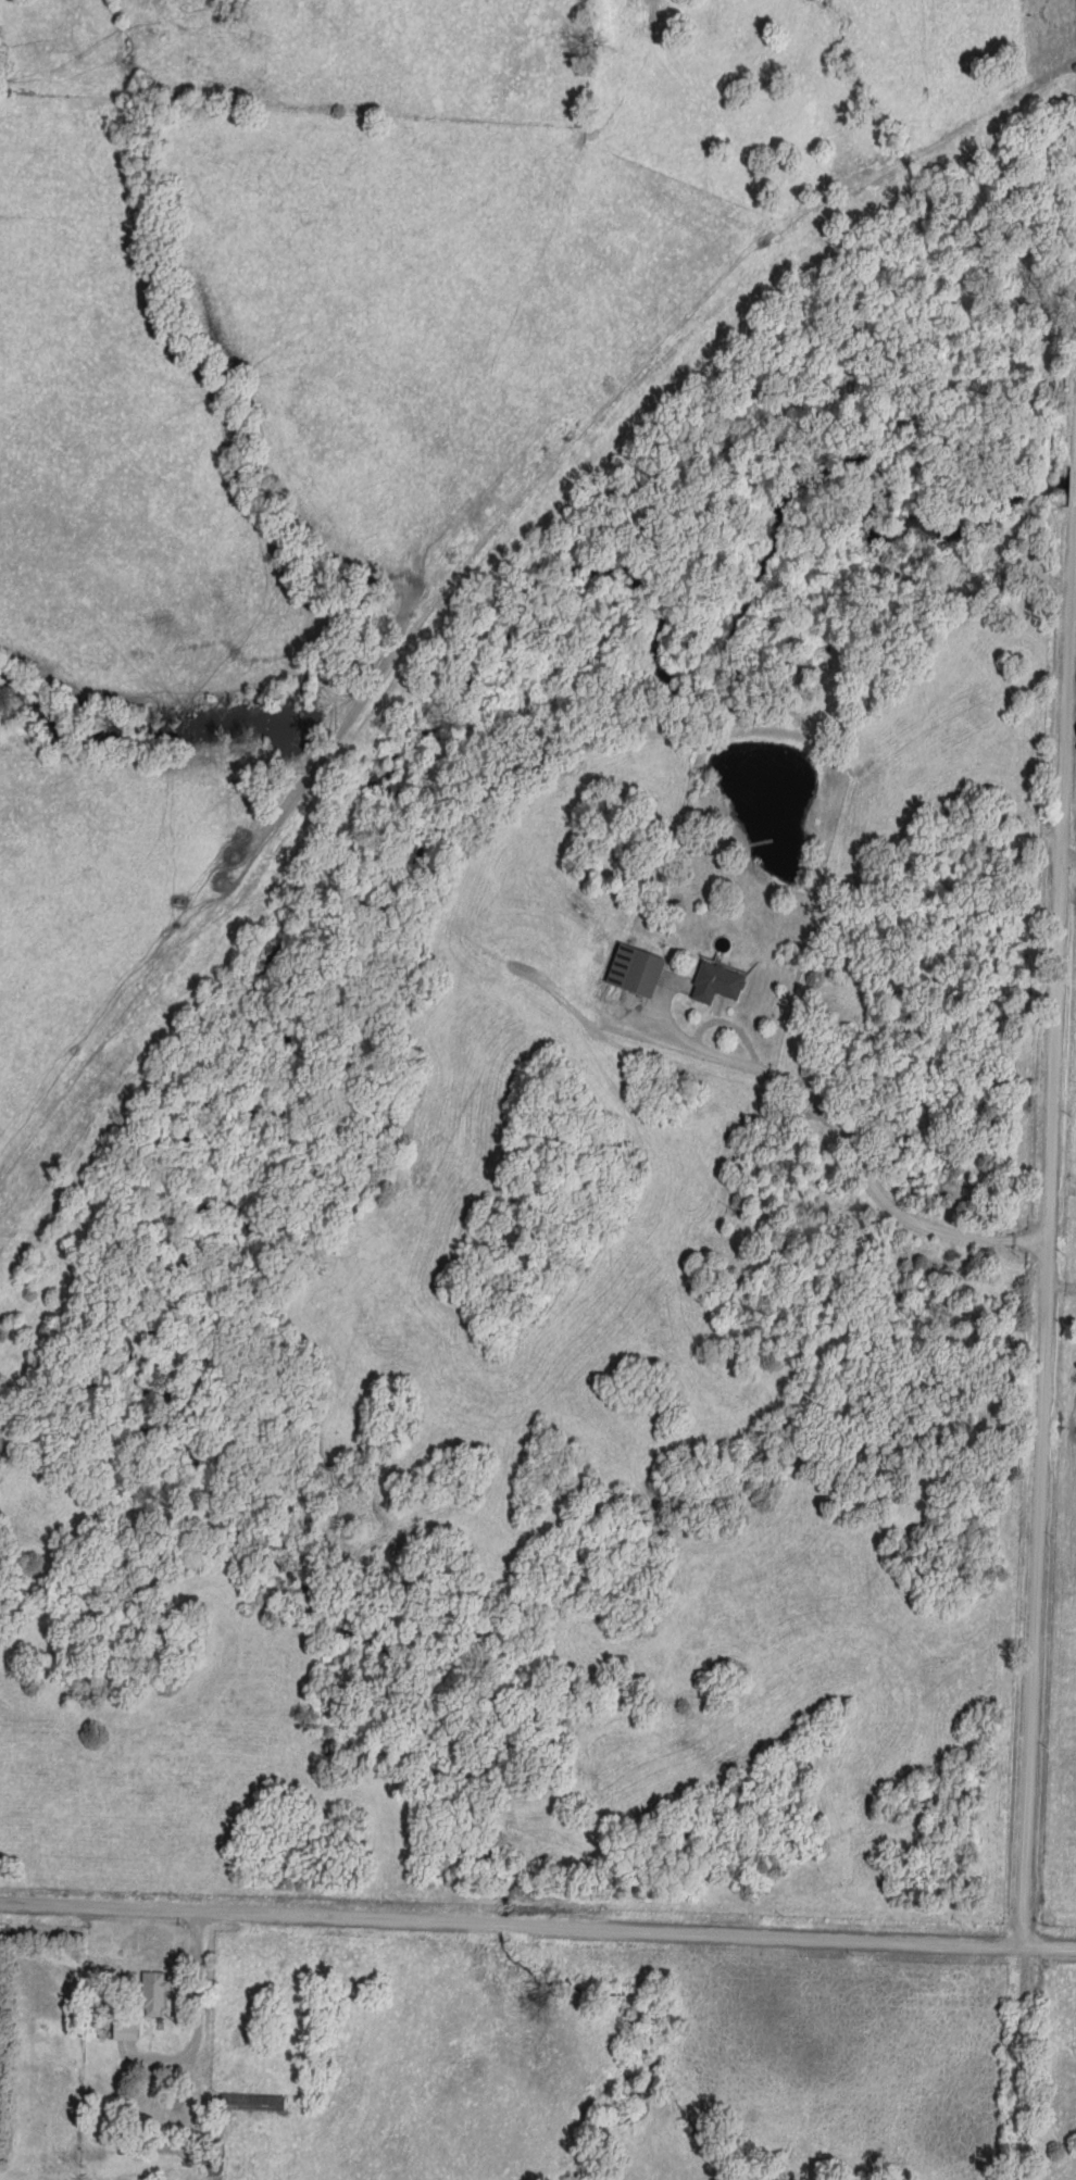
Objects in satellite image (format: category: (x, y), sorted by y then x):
road: (1071, 859)
building: (633, 967)
building: (715, 980)
road: (716, 1056)
road: (881, 1200)
road: (1049, 1255)
road: (537, 1929)
building: (153, 1990)
road: (198, 2017)
road: (1022, 2064)
building: (254, 2098)

